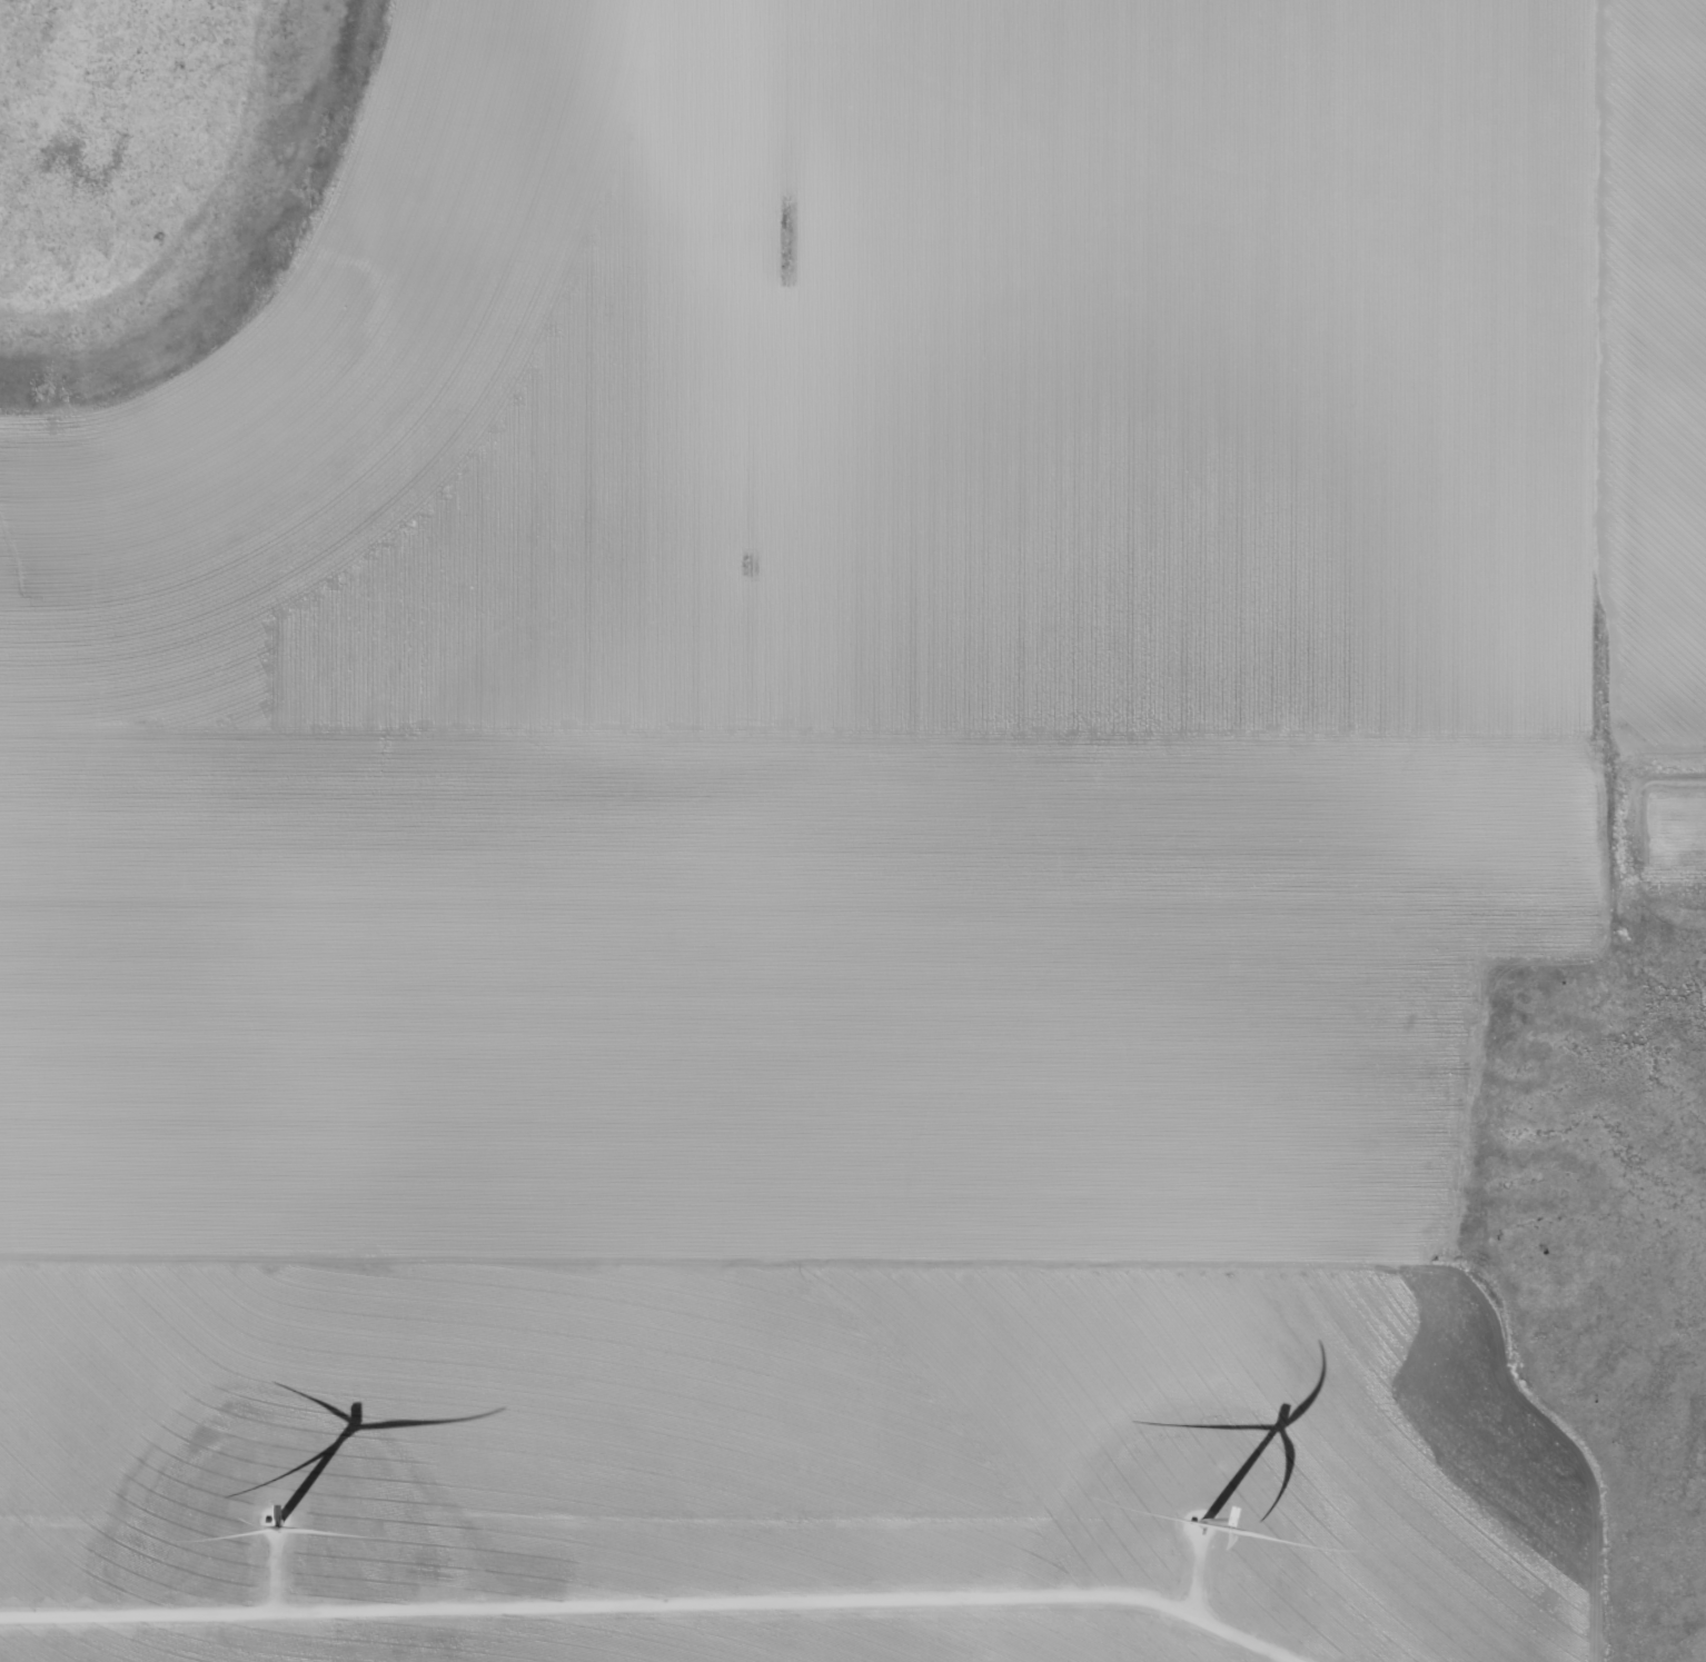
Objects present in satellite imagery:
wind turbine: (309, 1524)
wind turbine: (1194, 1533)

